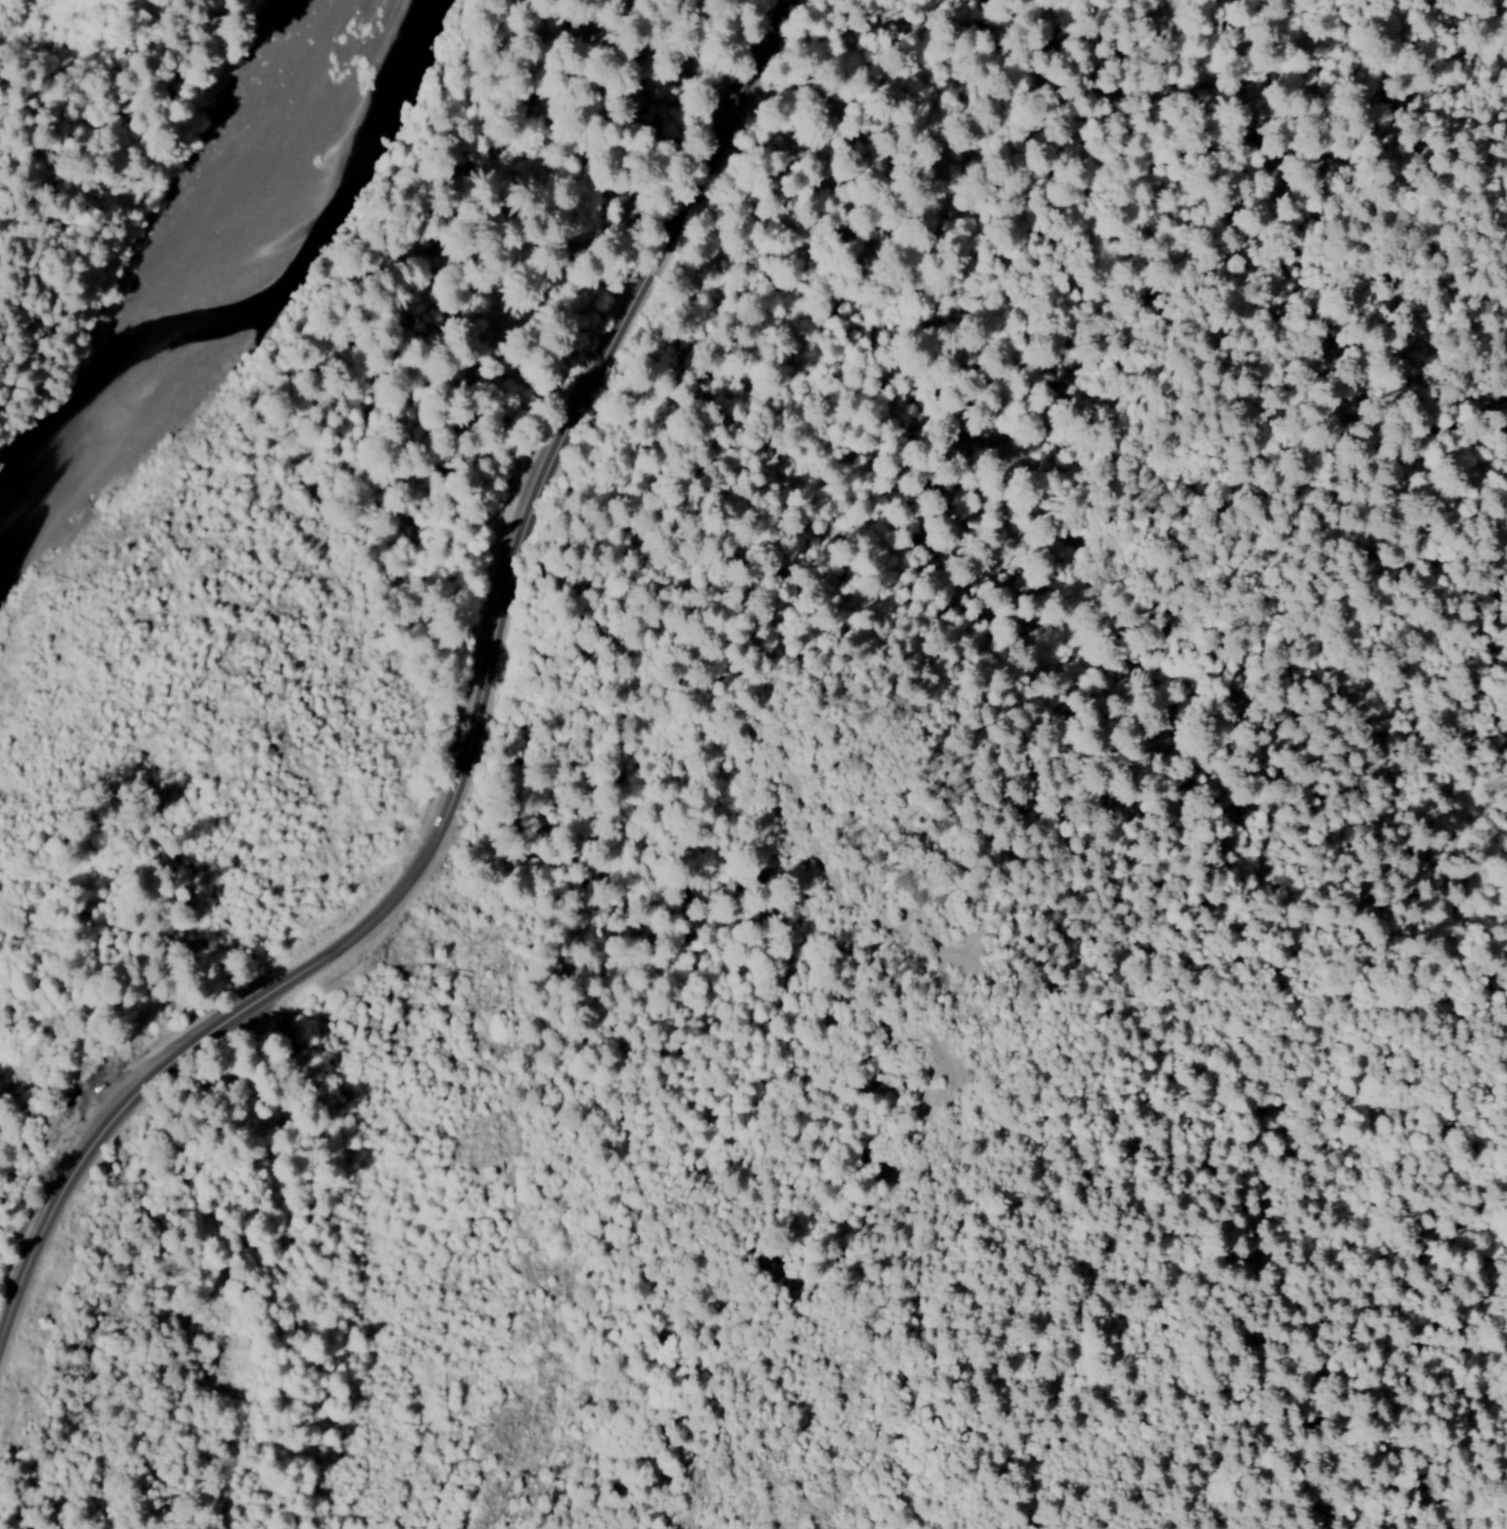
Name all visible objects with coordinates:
river: (394, 72)
river: (187, 334)
road: (473, 746)

